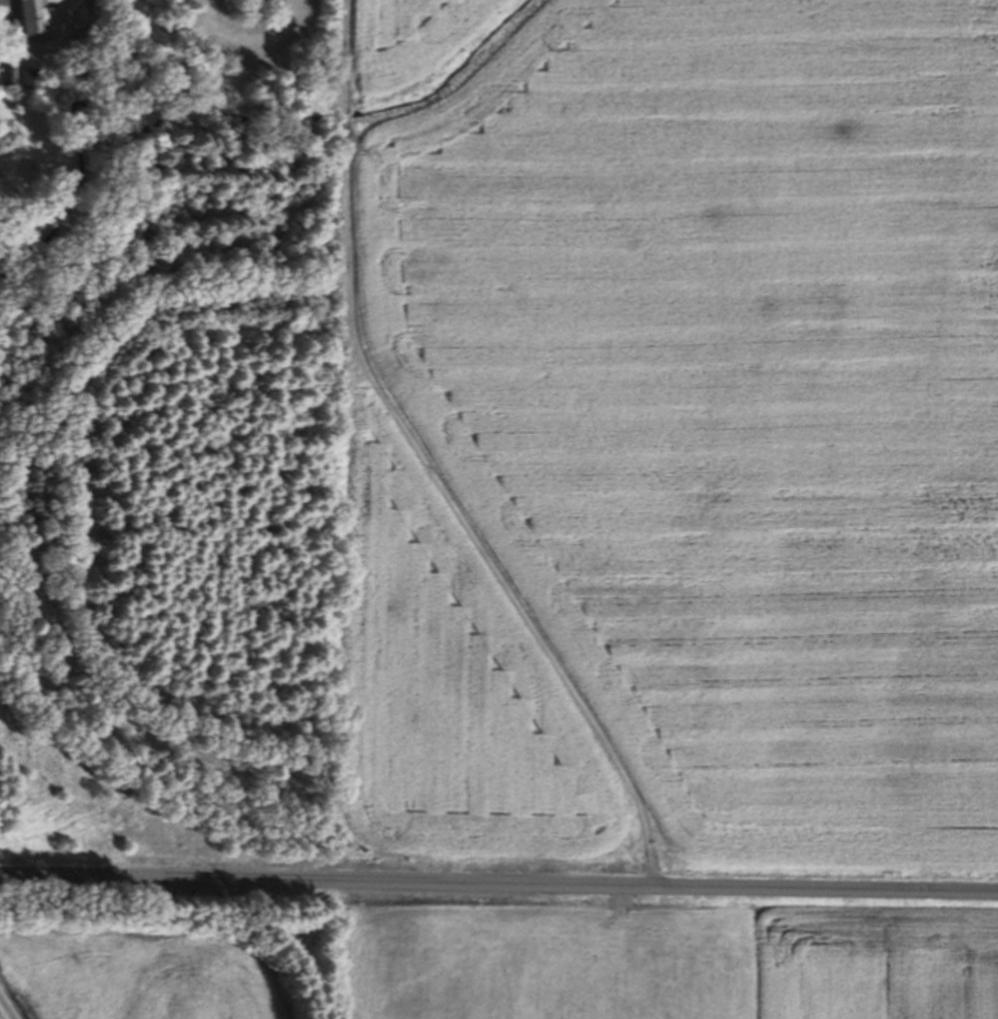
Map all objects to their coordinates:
building: (22, 18)
road: (498, 884)
road: (3, 1013)

